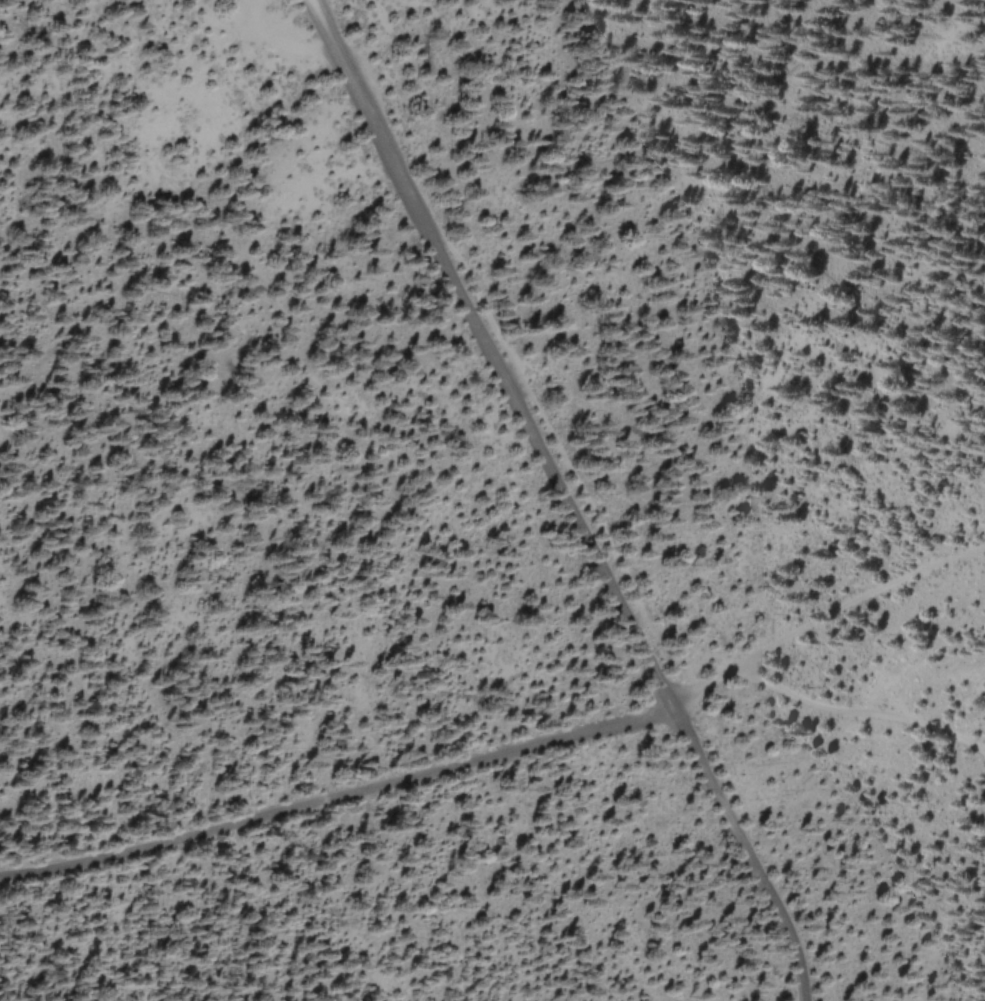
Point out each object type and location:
road: (570, 494)
road: (857, 600)
road: (830, 709)
road: (342, 792)

